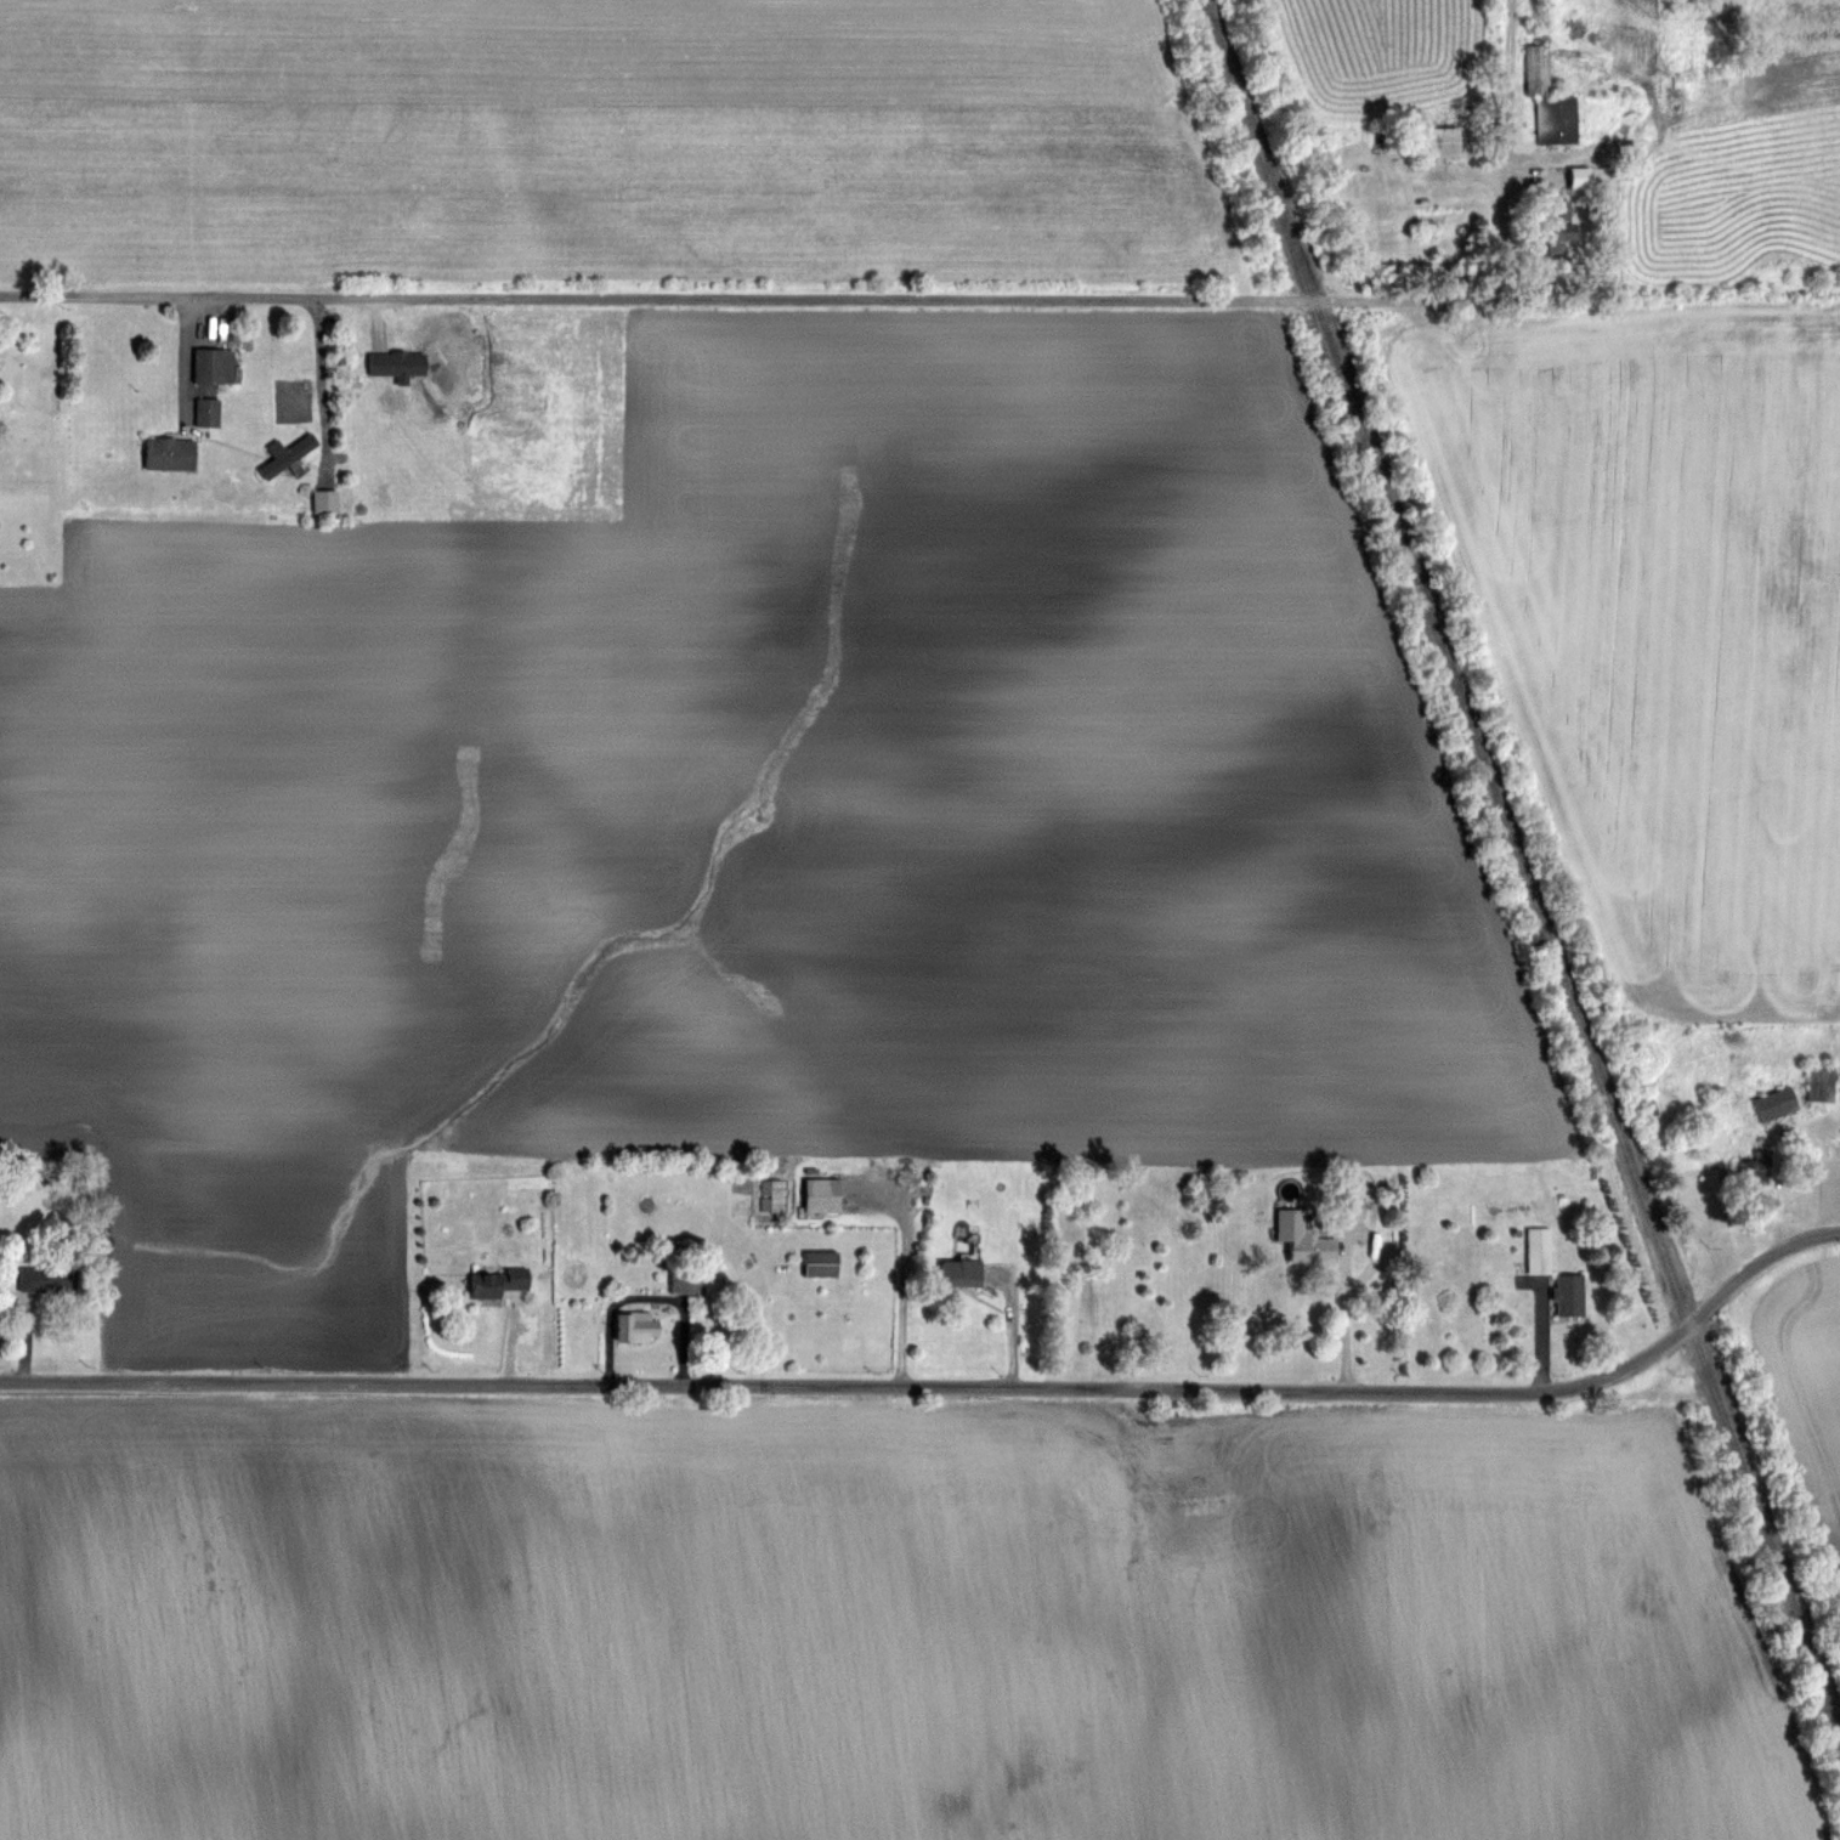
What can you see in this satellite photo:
building: (1539, 69)
road: (1507, 90)
building: (1557, 119)
building: (1440, 137)
building: (1581, 179)
building: (1562, 227)
road: (1501, 250)
road: (737, 300)
road: (183, 362)
building: (215, 364)
road: (327, 386)
building: (209, 412)
building: (285, 453)
building: (170, 454)
building: (325, 500)
railway: (1519, 856)
building: (1823, 1081)
building: (1777, 1103)
road: (1791, 1131)
building: (1759, 1161)
building: (765, 1183)
building: (822, 1194)
building: (764, 1202)
building: (1344, 1202)
building: (1303, 1238)
building: (1540, 1251)
building: (822, 1263)
road: (906, 1270)
building: (961, 1273)
building: (49, 1280)
building: (498, 1281)
building: (1572, 1292)
road: (649, 1297)
road: (1346, 1315)
road: (1014, 1325)
building: (640, 1327)
road: (1544, 1340)
road: (26, 1347)
road: (511, 1349)
road: (942, 1387)

